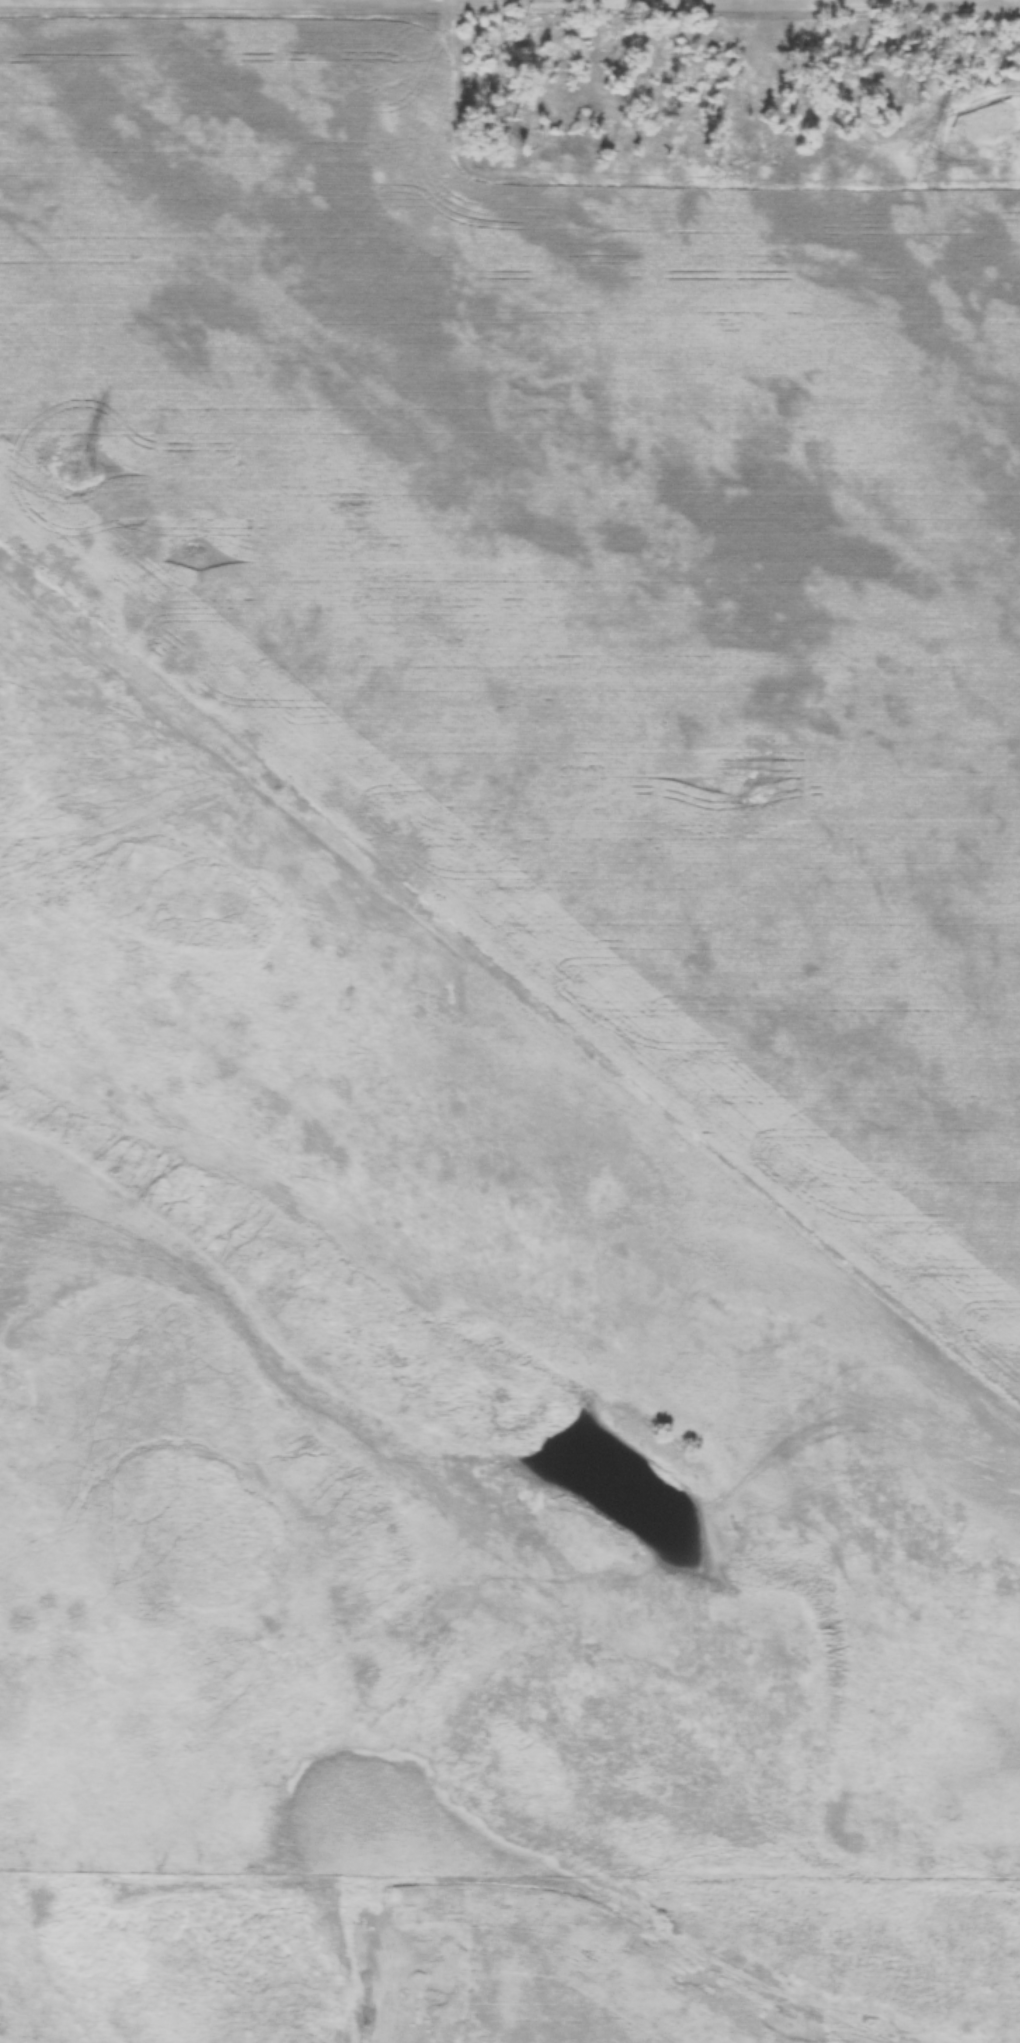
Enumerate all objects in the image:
power tower: (916, 164)
power tower: (73, 469)

